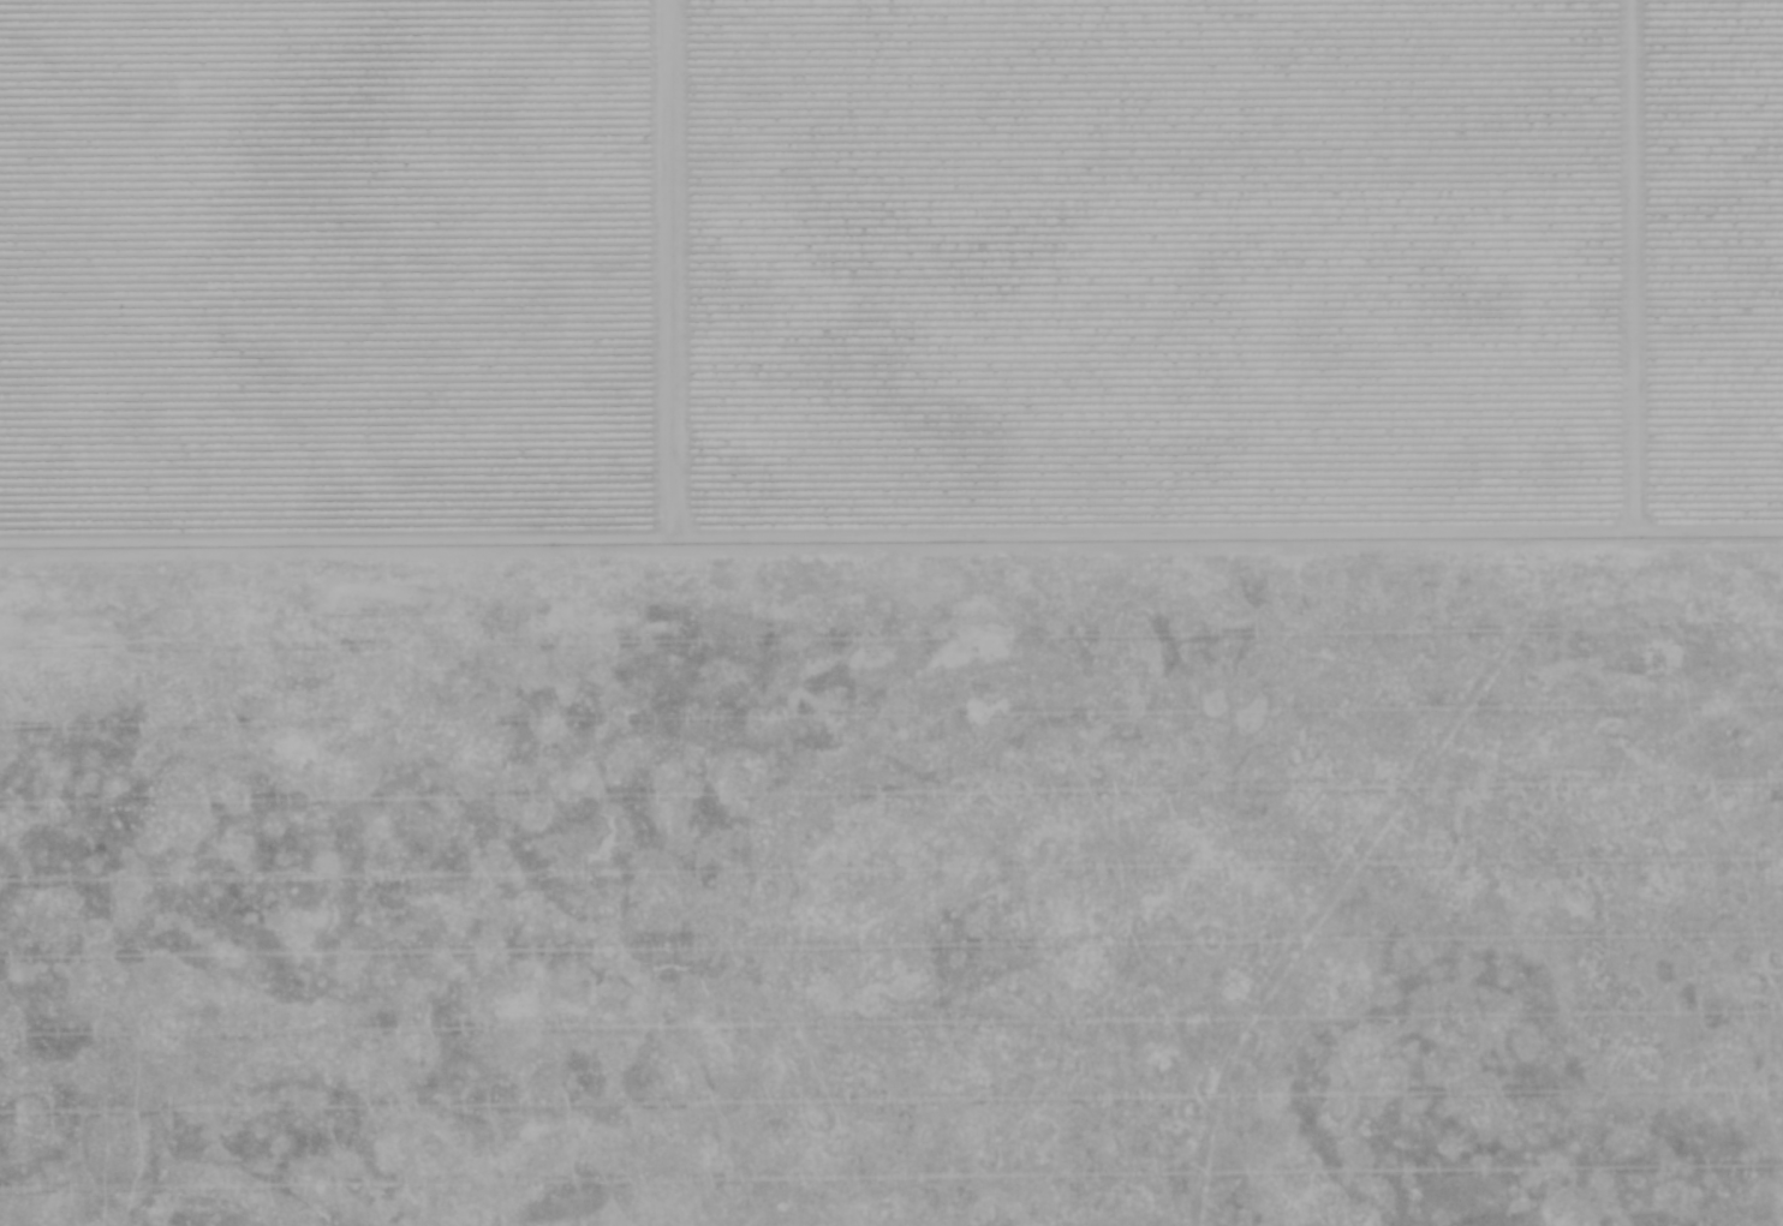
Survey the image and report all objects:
crop: (891, 612)

